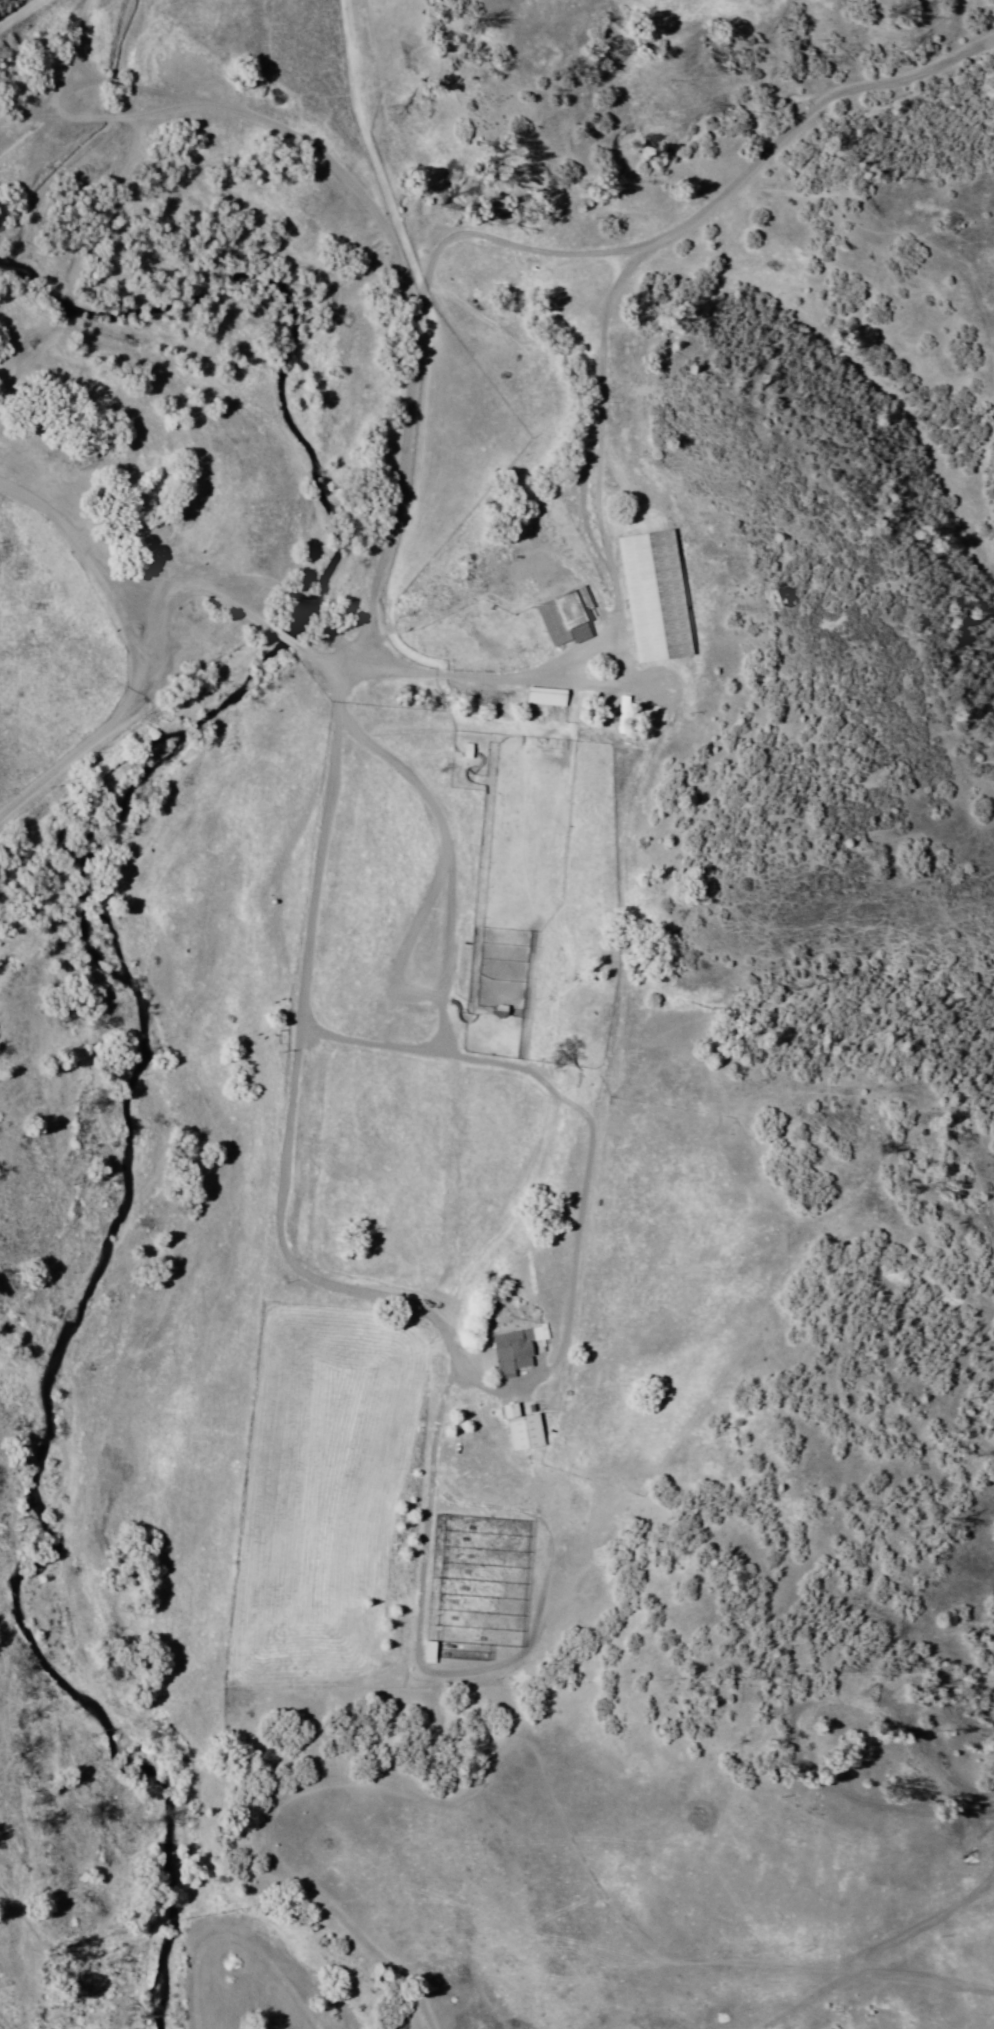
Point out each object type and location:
road: (17, 12)
road: (65, 49)
road: (25, 109)
road: (405, 454)
river: (282, 566)
building: (646, 592)
building: (558, 620)
road: (132, 678)
building: (542, 699)
building: (615, 711)
road: (453, 932)
building: (491, 1008)
road: (313, 1032)
road: (536, 1148)
road: (443, 1344)
building: (512, 1352)
building: (520, 1423)
building: (421, 1648)
river: (97, 1705)

